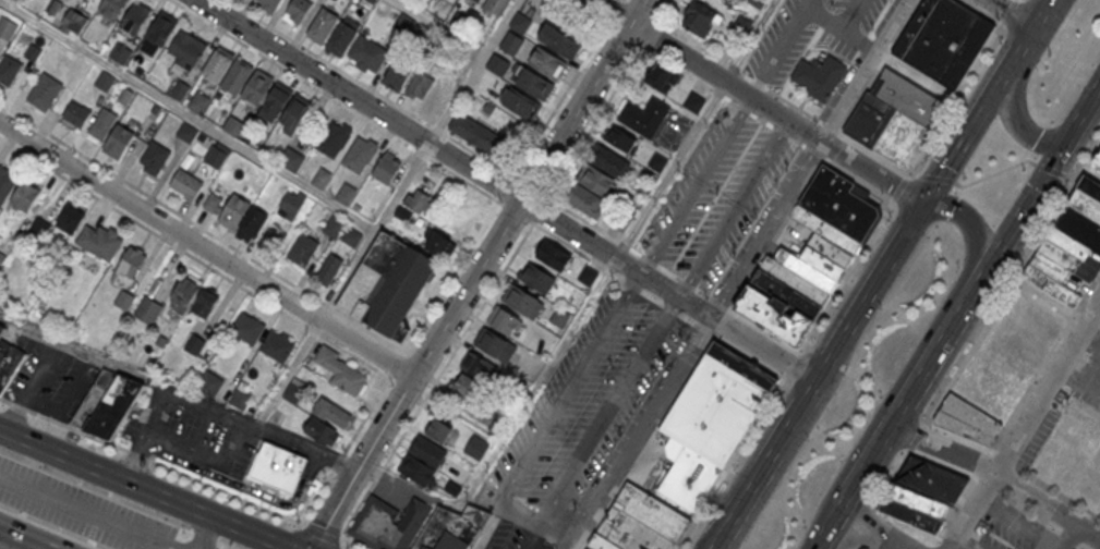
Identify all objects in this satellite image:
building: (723, 0)
building: (478, 1)
building: (588, 2)
building: (269, 4)
building: (110, 8)
building: (299, 8)
building: (134, 15)
road: (855, 16)
road: (1016, 17)
building: (699, 19)
building: (73, 23)
building: (322, 23)
building: (520, 23)
building: (5, 26)
building: (161, 26)
road: (440, 26)
road: (843, 30)
building: (558, 40)
building: (943, 40)
building: (510, 44)
road: (778, 48)
building: (120, 51)
building: (366, 51)
building: (185, 52)
building: (217, 62)
road: (328, 62)
building: (546, 62)
building: (9, 70)
road: (473, 70)
building: (235, 73)
road: (869, 73)
building: (819, 74)
building: (398, 75)
building: (104, 78)
building: (660, 78)
building: (530, 81)
building: (256, 84)
road: (1020, 84)
building: (45, 90)
building: (431, 90)
building: (277, 97)
building: (197, 99)
road: (335, 99)
building: (519, 102)
building: (693, 102)
road: (758, 103)
building: (295, 109)
building: (76, 113)
building: (643, 113)
building: (893, 118)
building: (101, 123)
building: (232, 123)
building: (185, 130)
building: (478, 134)
building: (333, 136)
building: (620, 139)
building: (119, 141)
road: (231, 141)
traffic signals: (1061, 148)
building: (359, 151)
building: (214, 154)
building: (291, 157)
building: (154, 158)
building: (386, 167)
road: (669, 170)
building: (597, 181)
parking lot: (698, 182)
building: (5, 183)
building: (185, 184)
road: (698, 188)
road: (507, 190)
building: (25, 191)
building: (346, 194)
building: (418, 199)
building: (291, 204)
traffic signals: (926, 205)
parking lot: (735, 207)
road: (733, 210)
building: (235, 213)
building: (70, 216)
building: (334, 225)
building: (38, 228)
road: (769, 232)
building: (351, 235)
road: (559, 237)
building: (1068, 237)
building: (99, 241)
building: (438, 245)
road: (207, 246)
building: (302, 249)
road: (994, 253)
building: (1, 255)
building: (553, 255)
building: (810, 257)
building: (130, 260)
building: (329, 269)
road: (349, 273)
road: (476, 273)
road: (848, 274)
building: (588, 276)
road: (881, 276)
building: (536, 277)
building: (386, 282)
building: (182, 290)
building: (124, 297)
building: (203, 300)
road: (266, 301)
building: (522, 301)
road: (947, 301)
building: (147, 308)
building: (560, 318)
building: (503, 320)
building: (245, 325)
building: (1, 328)
building: (194, 342)
building: (276, 344)
building: (496, 345)
building: (9, 359)
building: (480, 366)
building: (740, 368)
building: (340, 369)
road: (290, 370)
road: (437, 375)
parking lot: (49, 379)
building: (210, 380)
building: (464, 385)
road: (34, 386)
building: (293, 390)
building: (238, 396)
road: (204, 399)
building: (106, 401)
building: (979, 401)
road: (158, 411)
building: (331, 412)
road: (1024, 426)
building: (321, 430)
building: (706, 430)
building: (442, 431)
parking lot: (193, 432)
road: (643, 434)
road: (189, 452)
building: (474, 453)
road: (867, 460)
building: (422, 461)
road: (161, 463)
building: (277, 465)
road: (781, 467)
road: (999, 474)
road: (144, 488)
building: (451, 488)
building: (922, 493)
parking lot: (87, 509)
road: (90, 511)
road: (520, 514)
road: (496, 517)
building: (639, 524)
road: (875, 524)
road: (827, 525)
building: (451, 528)
road: (537, 532)
road: (208, 533)
road: (1064, 536)
road: (21, 539)
road: (900, 547)

